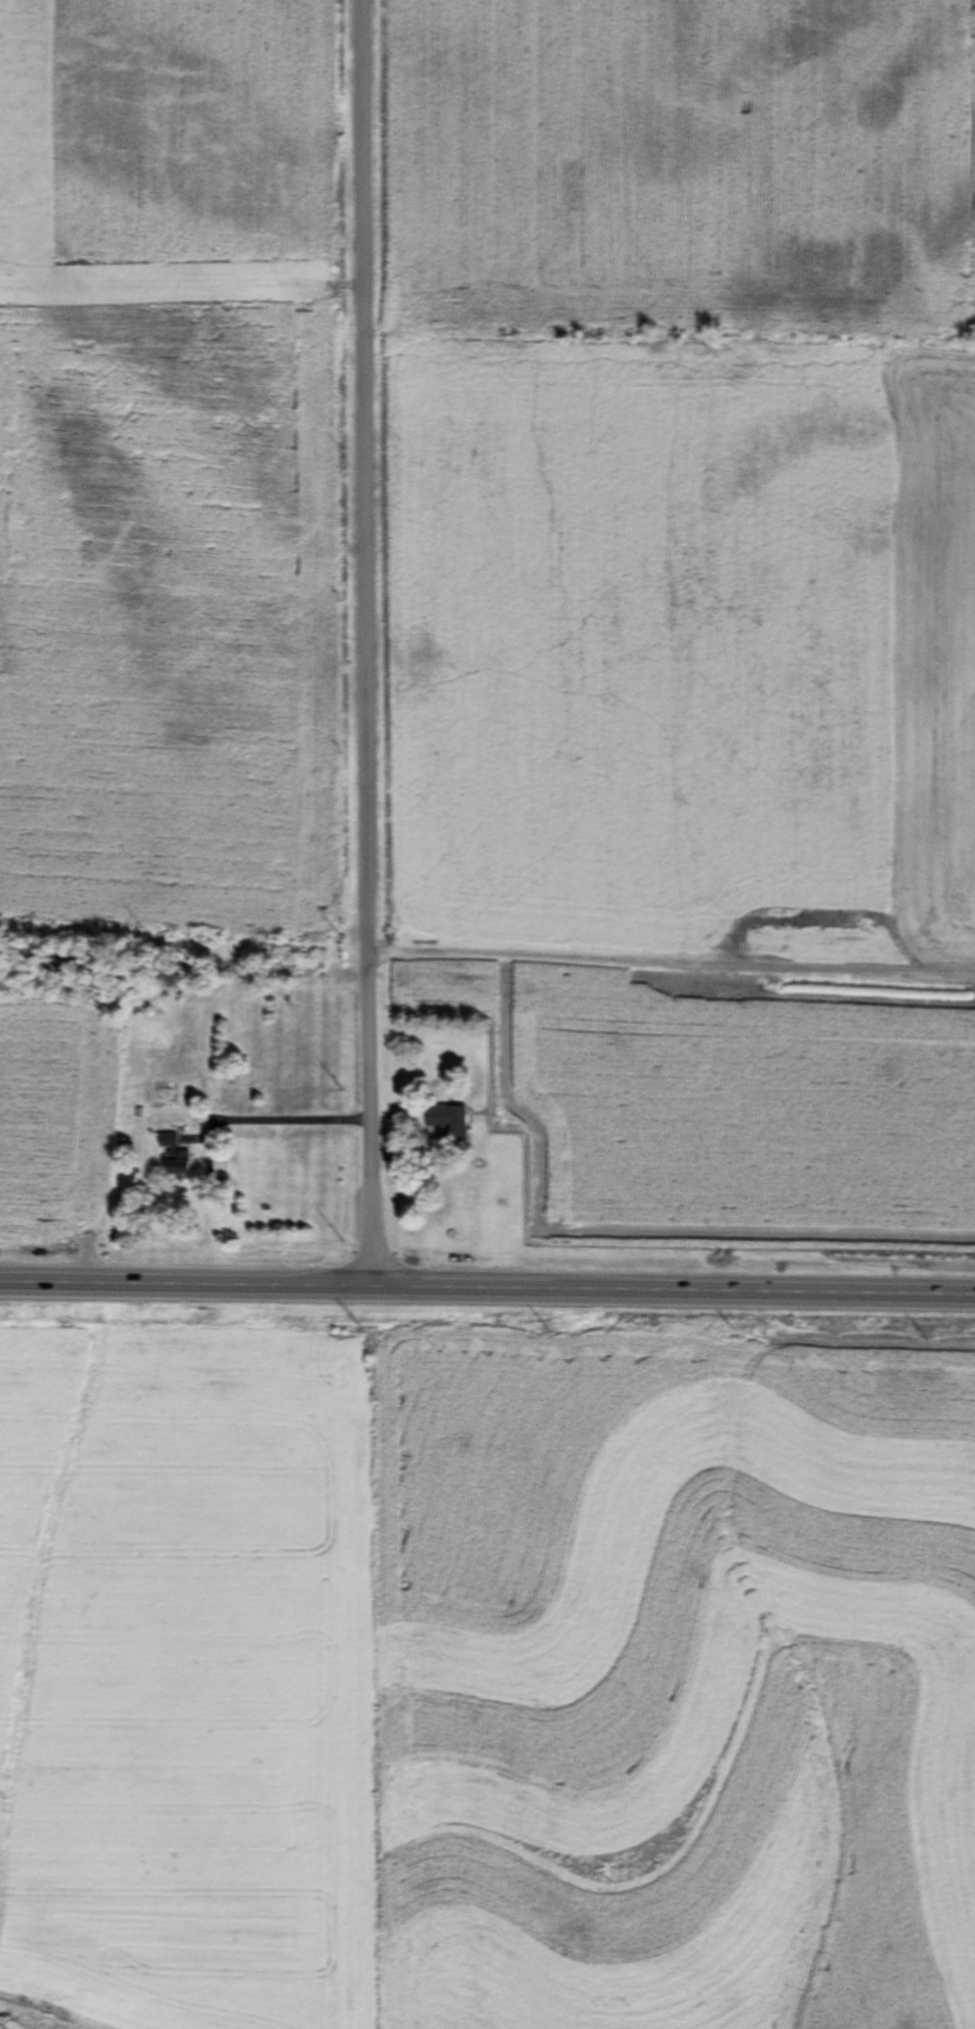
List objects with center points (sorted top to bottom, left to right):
road: (358, 644)
building: (449, 1124)
building: (174, 1156)
road: (487, 1290)

